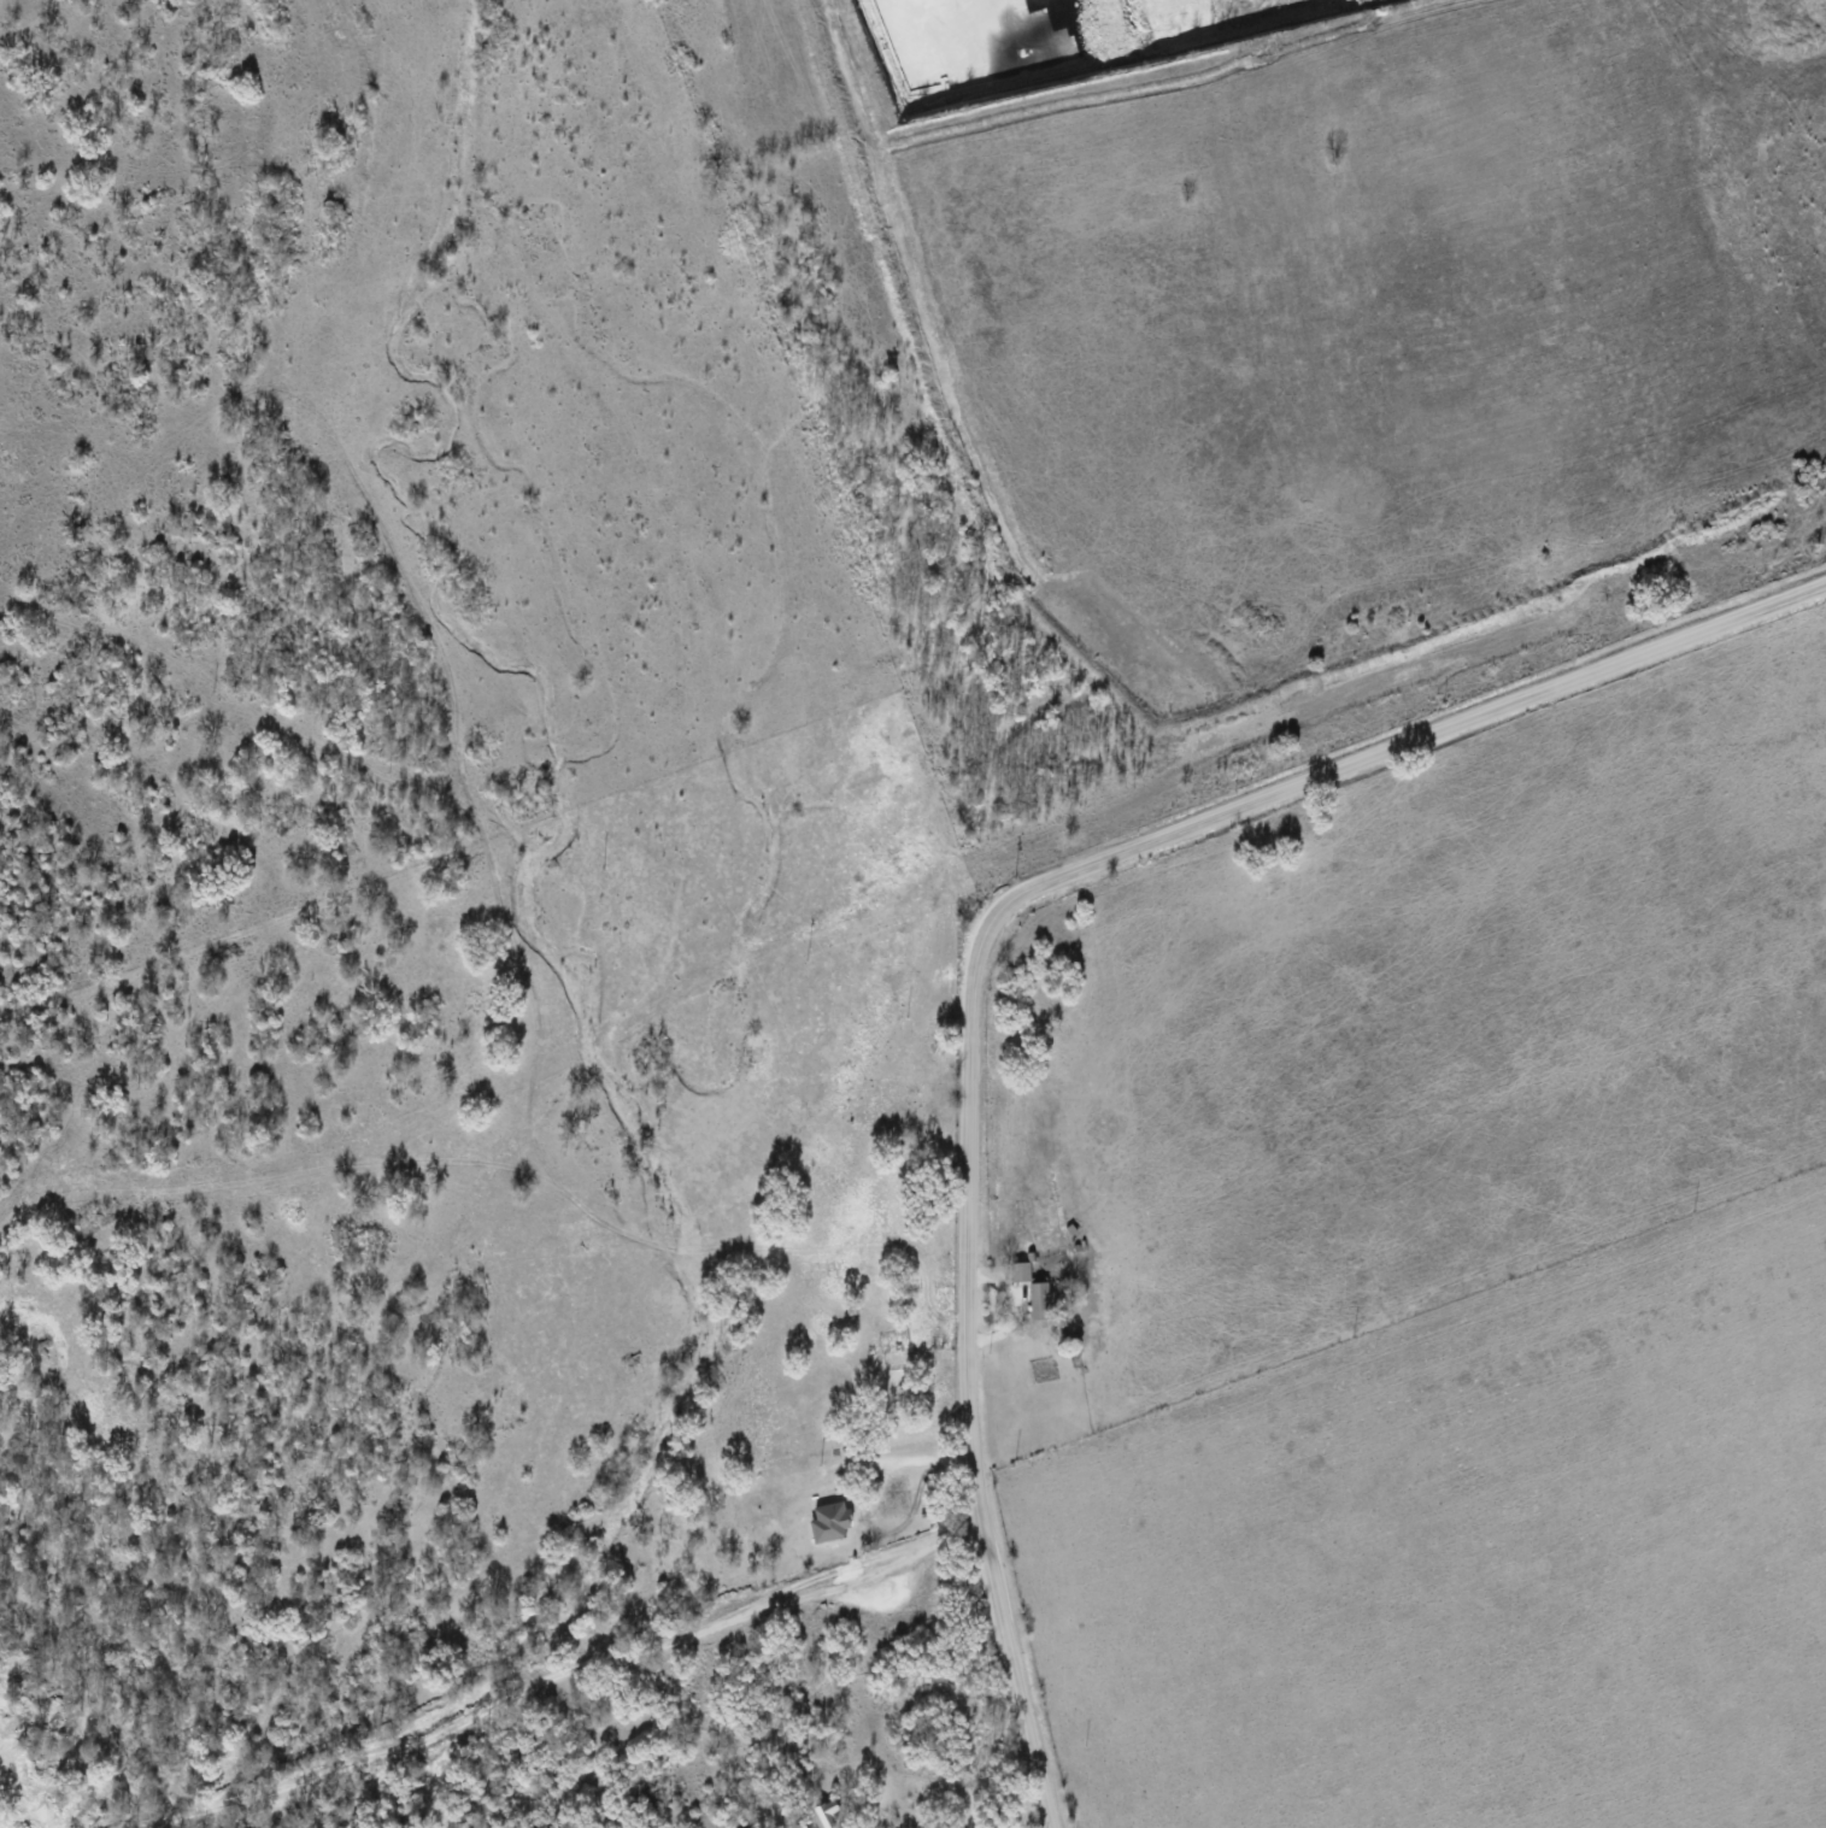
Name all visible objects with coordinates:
quarry: (1010, 46)
road: (990, 930)
building: (1020, 1271)
building: (1039, 1297)
road: (894, 1459)
building: (829, 1522)
road: (562, 1673)
building: (827, 1812)

